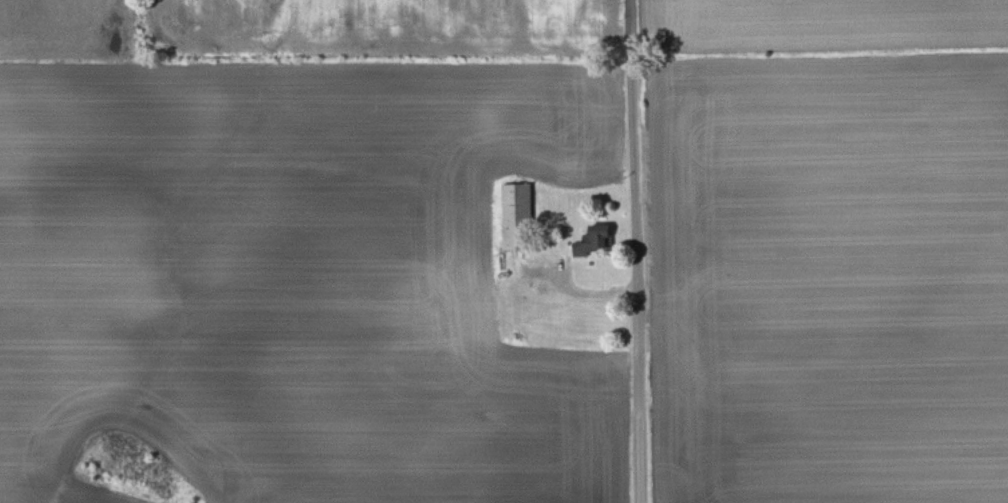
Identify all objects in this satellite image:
road: (632, 13)
building: (518, 217)
building: (595, 241)
road: (636, 264)
road: (581, 289)

